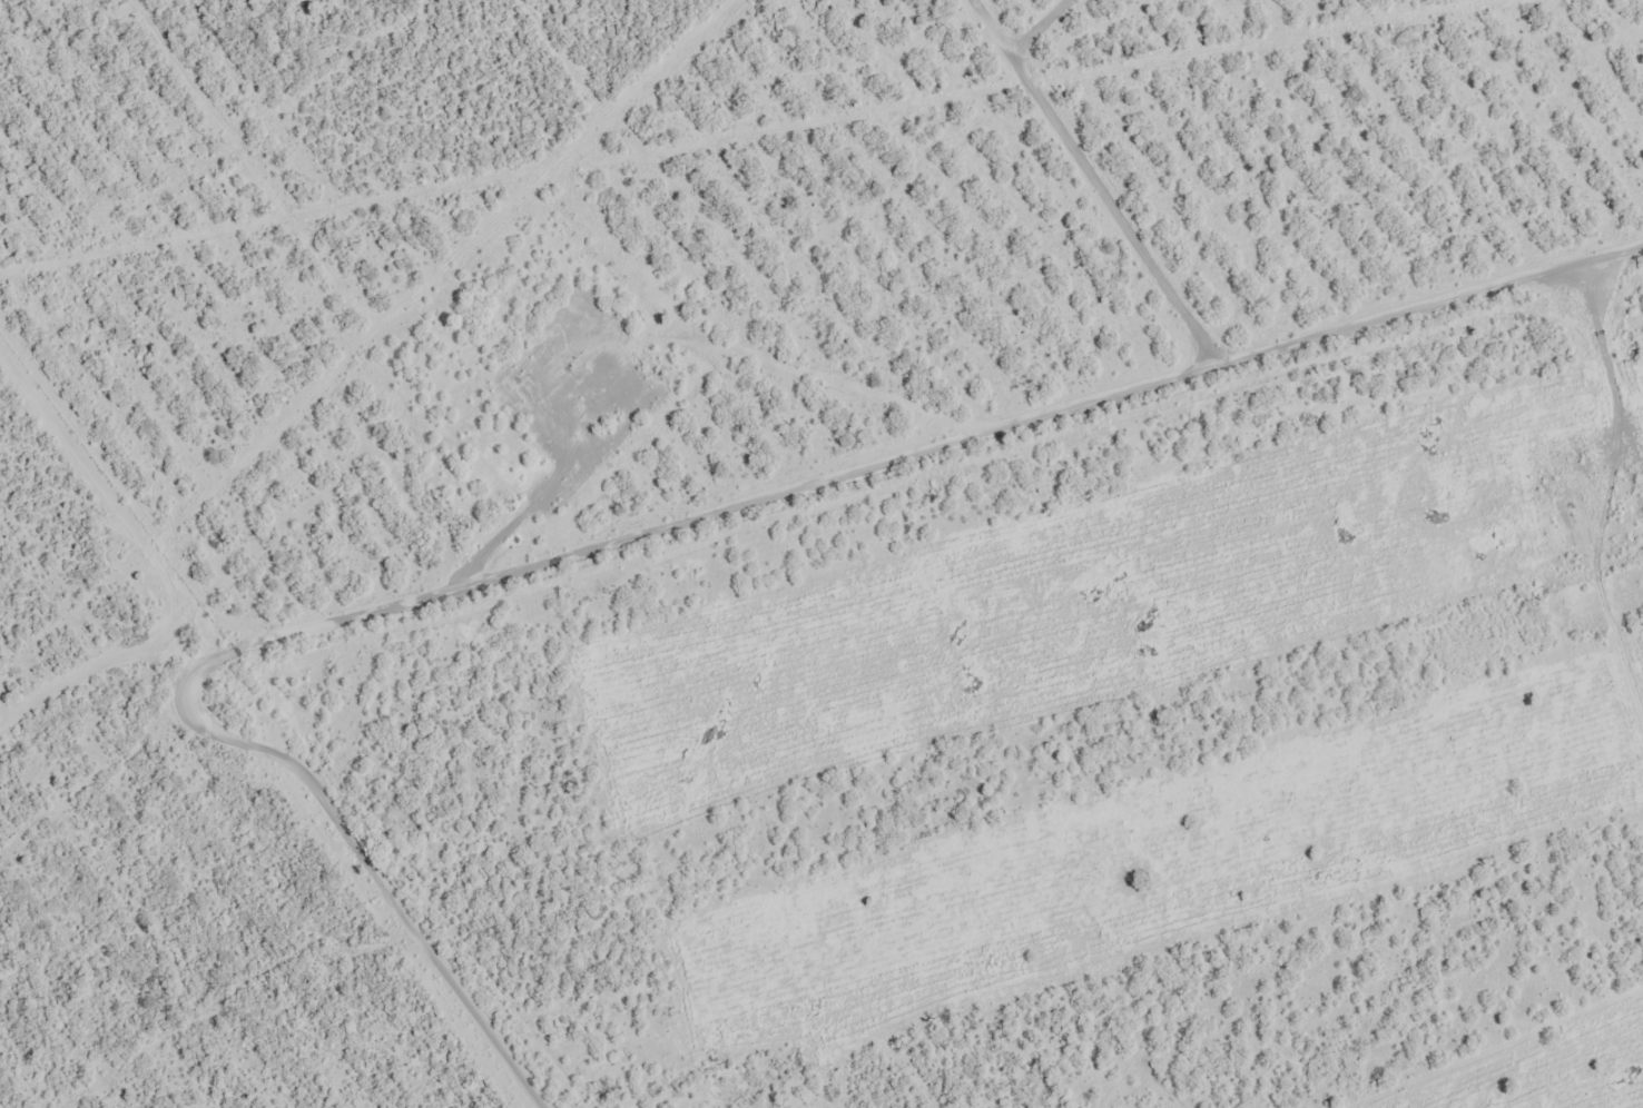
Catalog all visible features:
road: (815, 495)

